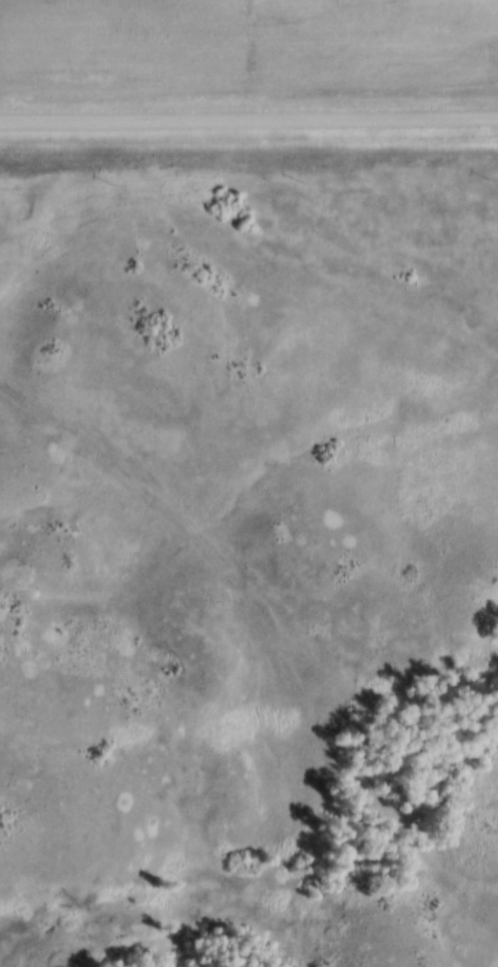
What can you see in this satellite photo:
road: (249, 120)

